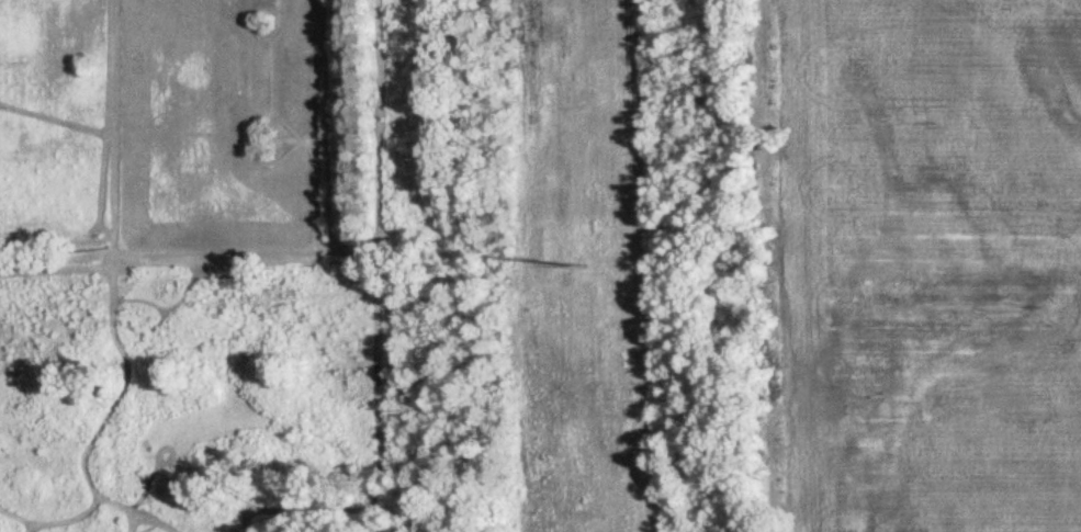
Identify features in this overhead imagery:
power tower: (585, 265)

